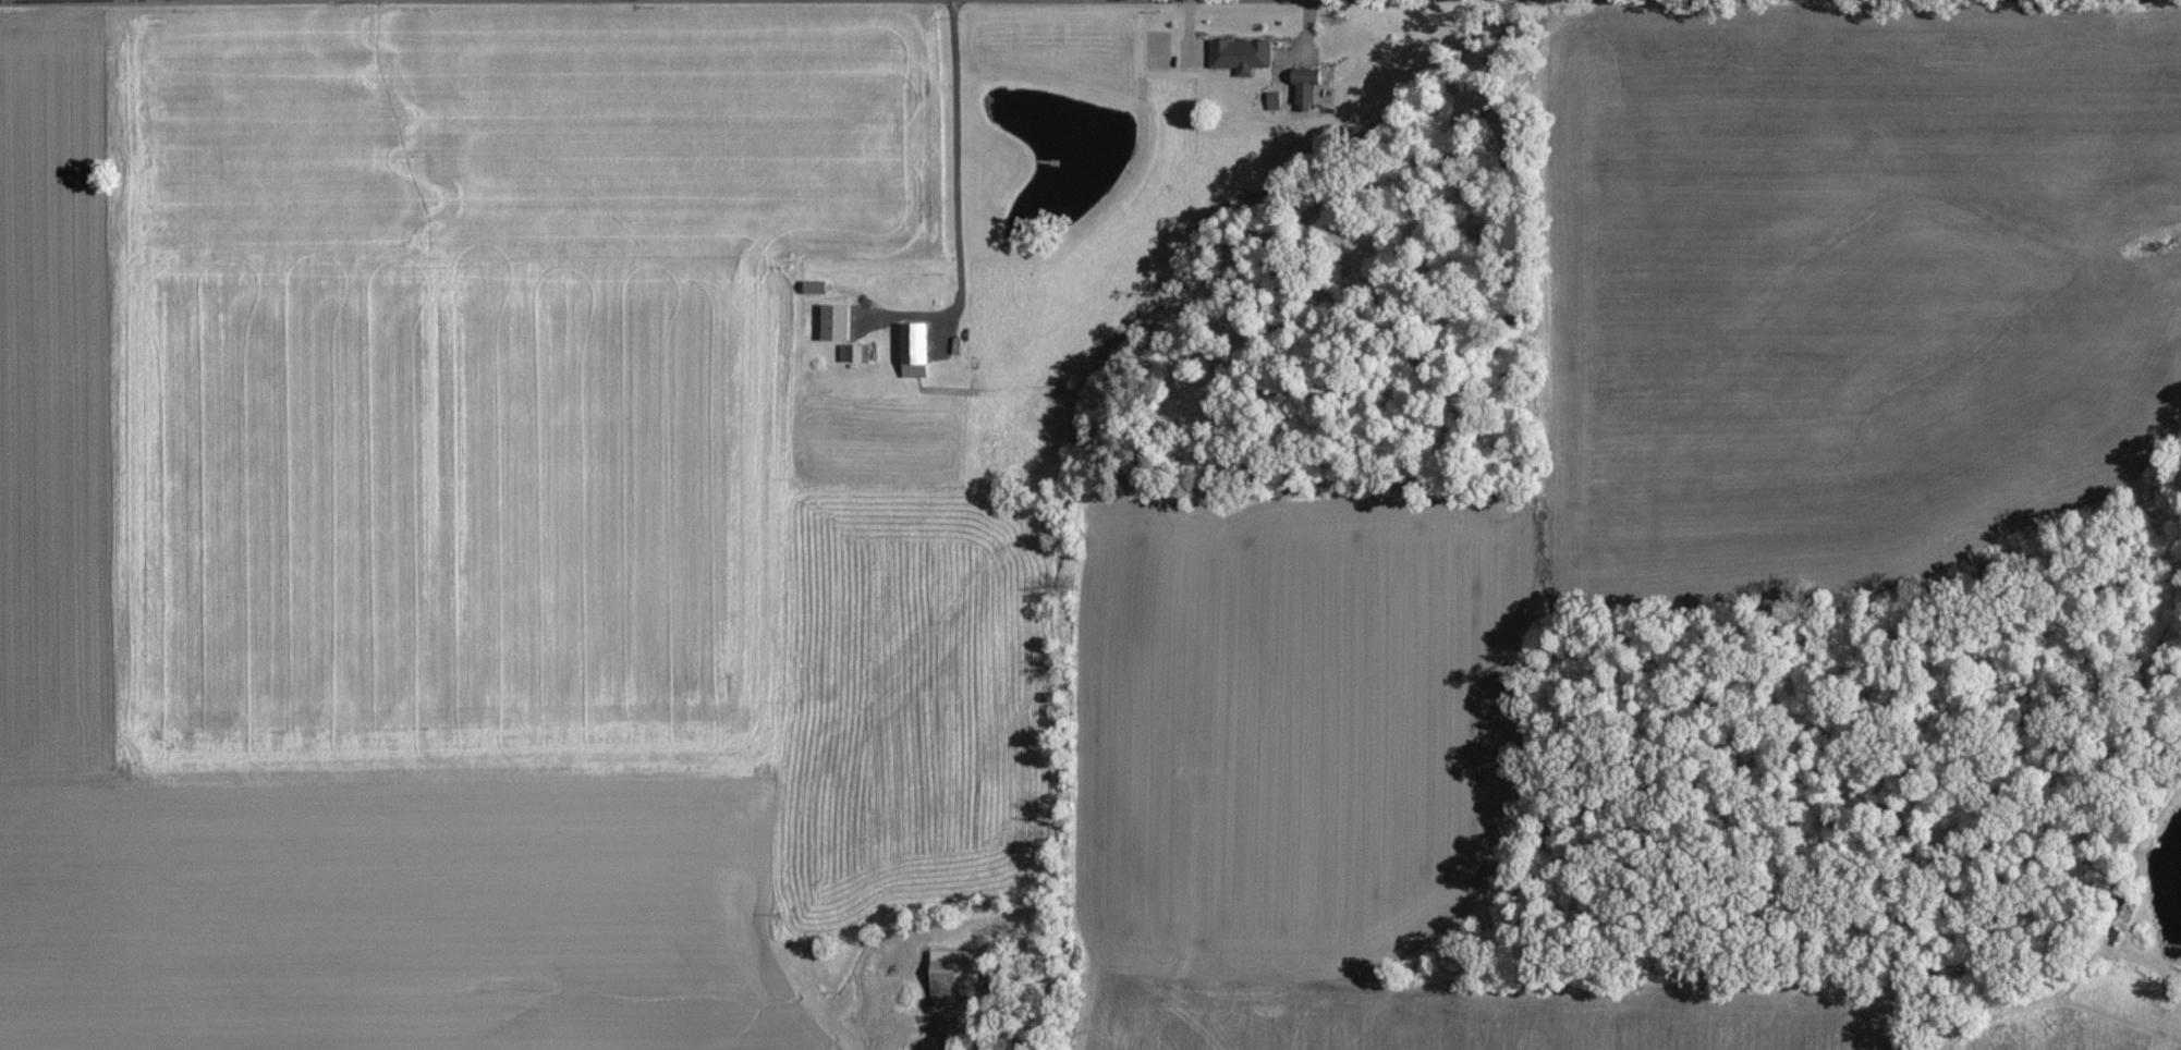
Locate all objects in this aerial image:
road: (582, 1)
building: (1243, 56)
building: (1308, 90)
building: (1275, 101)
road: (950, 154)
building: (836, 323)
building: (915, 351)
building: (853, 354)

